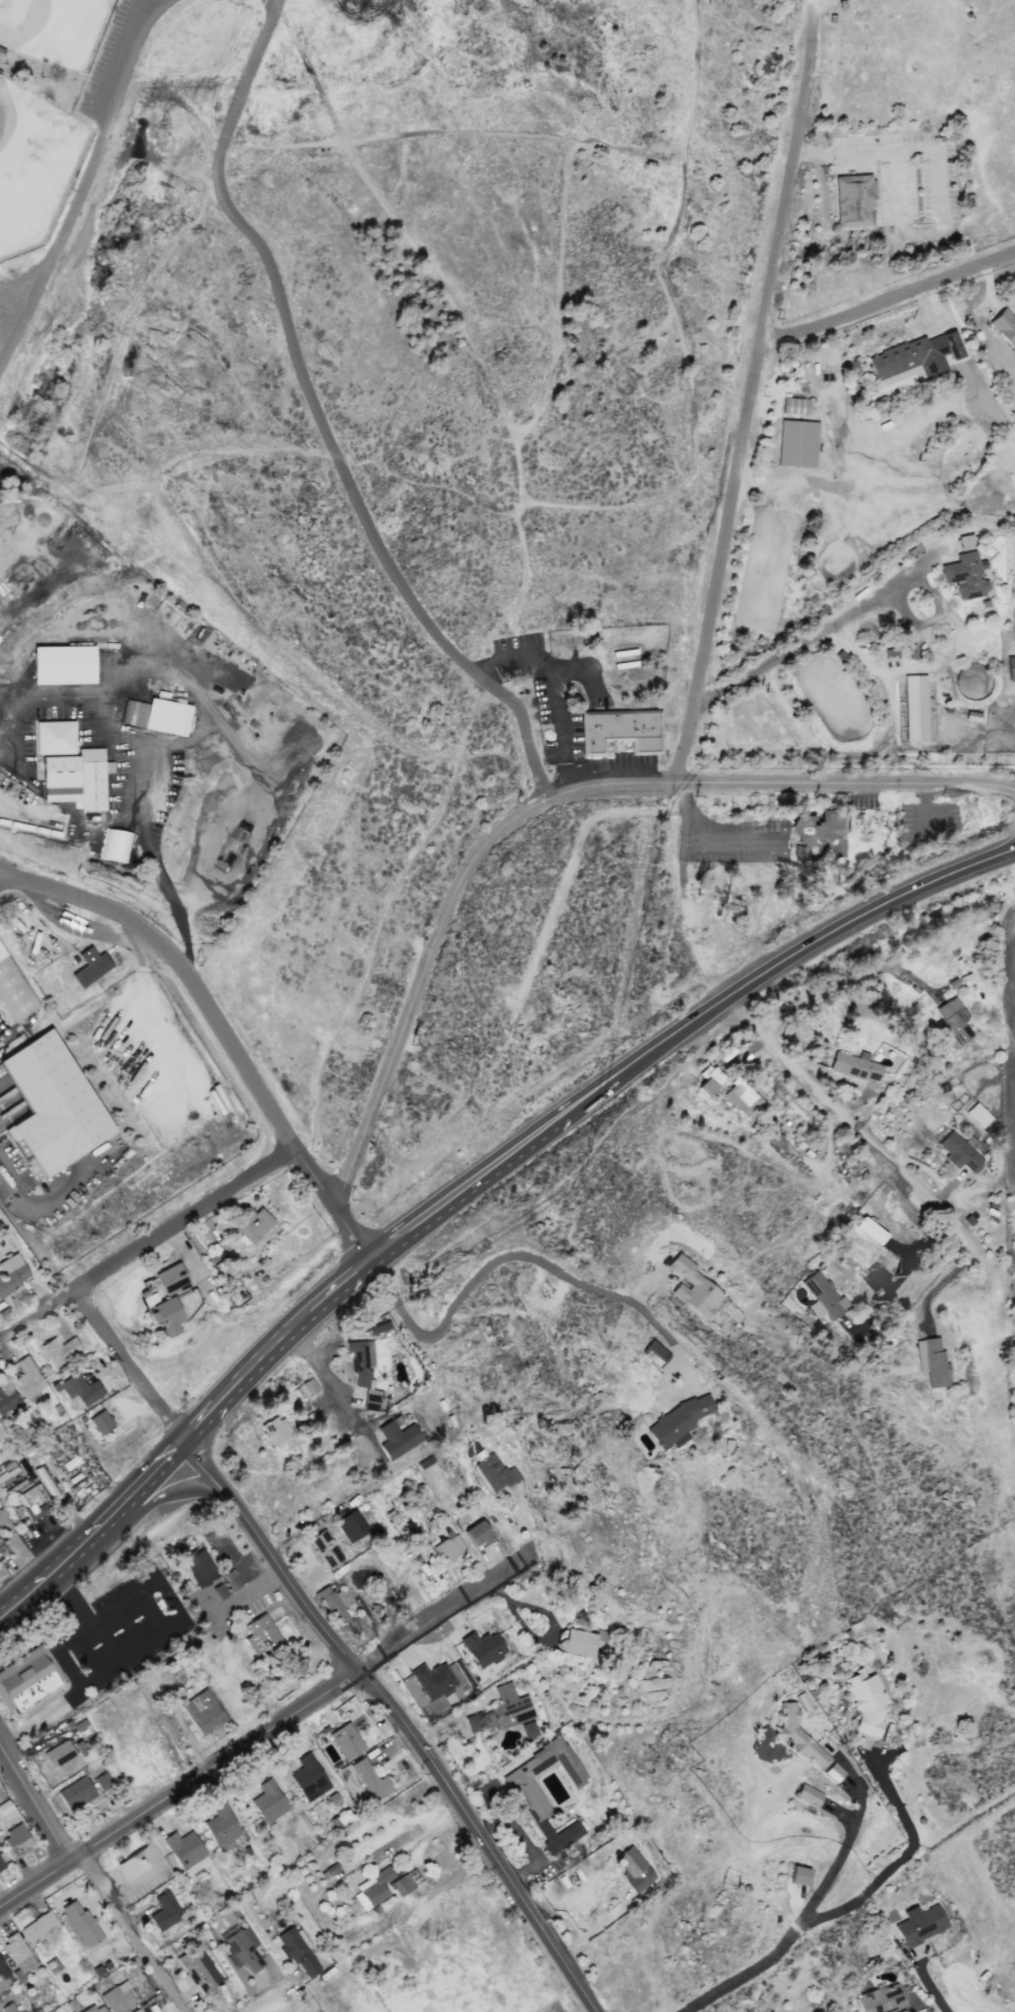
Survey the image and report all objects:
park: (51, 28)
parking lot: (121, 56)
park: (35, 165)
road: (936, 176)
road: (92, 181)
building: (853, 200)
road: (884, 303)
road: (9, 312)
building: (1005, 327)
road: (985, 328)
building: (915, 358)
road: (745, 392)
building: (793, 406)
road: (317, 420)
building: (796, 444)
park: (359, 462)
building: (965, 542)
building: (964, 576)
building: (1014, 611)
road: (805, 639)
building: (900, 652)
building: (62, 664)
road: (556, 679)
road: (8, 690)
building: (915, 708)
road: (97, 713)
building: (156, 716)
building: (620, 732)
building: (54, 737)
building: (76, 779)
road: (549, 802)
building: (818, 835)
road: (702, 838)
building: (116, 845)
road: (4, 877)
road: (763, 890)
road: (107, 909)
road: (688, 923)
road: (813, 942)
building: (90, 967)
road: (842, 980)
building: (13, 991)
building: (952, 1021)
building: (854, 1066)
building: (710, 1082)
road: (261, 1093)
road: (596, 1094)
building: (742, 1098)
building: (52, 1104)
building: (977, 1115)
road: (858, 1131)
building: (958, 1151)
road: (508, 1157)
road: (39, 1205)
building: (251, 1224)
road: (410, 1229)
building: (869, 1230)
road: (894, 1232)
road: (350, 1234)
road: (146, 1241)
road: (493, 1255)
building: (11, 1273)
road: (940, 1283)
building: (164, 1284)
road: (338, 1287)
building: (693, 1288)
road: (891, 1290)
building: (823, 1294)
building: (166, 1316)
road: (274, 1346)
building: (59, 1350)
building: (653, 1354)
building: (931, 1361)
road: (126, 1366)
building: (363, 1372)
road: (323, 1378)
building: (28, 1379)
building: (306, 1388)
building: (78, 1390)
building: (8, 1403)
road: (210, 1412)
building: (99, 1422)
building: (676, 1422)
building: (275, 1432)
building: (397, 1439)
road: (202, 1467)
building: (494, 1473)
road: (171, 1494)
building: (33, 1501)
building: (352, 1527)
building: (477, 1534)
road: (97, 1536)
building: (325, 1549)
building: (448, 1550)
building: (198, 1567)
building: (231, 1580)
building: (218, 1591)
road: (238, 1597)
building: (332, 1604)
road: (141, 1614)
road: (166, 1624)
building: (262, 1638)
building: (575, 1642)
building: (482, 1648)
building: (28, 1681)
building: (428, 1683)
building: (803, 1701)
building: (866, 1702)
road: (301, 1706)
building: (509, 1708)
building: (202, 1712)
road: (38, 1715)
building: (474, 1722)
building: (528, 1729)
building: (797, 1735)
building: (345, 1741)
road: (419, 1744)
building: (58, 1753)
road: (3, 1762)
building: (833, 1772)
building: (308, 1778)
building: (369, 1780)
building: (102, 1781)
building: (75, 1793)
building: (809, 1795)
building: (531, 1800)
building: (267, 1802)
road: (35, 1804)
road: (890, 1808)
building: (220, 1825)
road: (504, 1825)
building: (16, 1841)
building: (185, 1851)
road: (542, 1851)
road: (76, 1857)
building: (138, 1861)
building: (2, 1862)
road: (838, 1862)
building: (634, 1869)
building: (800, 1875)
road: (35, 1884)
building: (399, 1885)
road: (448, 1885)
building: (371, 1889)
building: (165, 1913)
building: (81, 1922)
building: (920, 1924)
building: (38, 1927)
road: (133, 1932)
road: (796, 1933)
building: (240, 1949)
building: (297, 1950)
building: (17, 1952)
building: (198, 1969)
building: (2, 1970)
road: (931, 1990)
building: (117, 1998)
road: (262, 1999)
building: (881, 1999)
building: (7, 2008)
building: (95, 2008)
building: (141, 2009)

